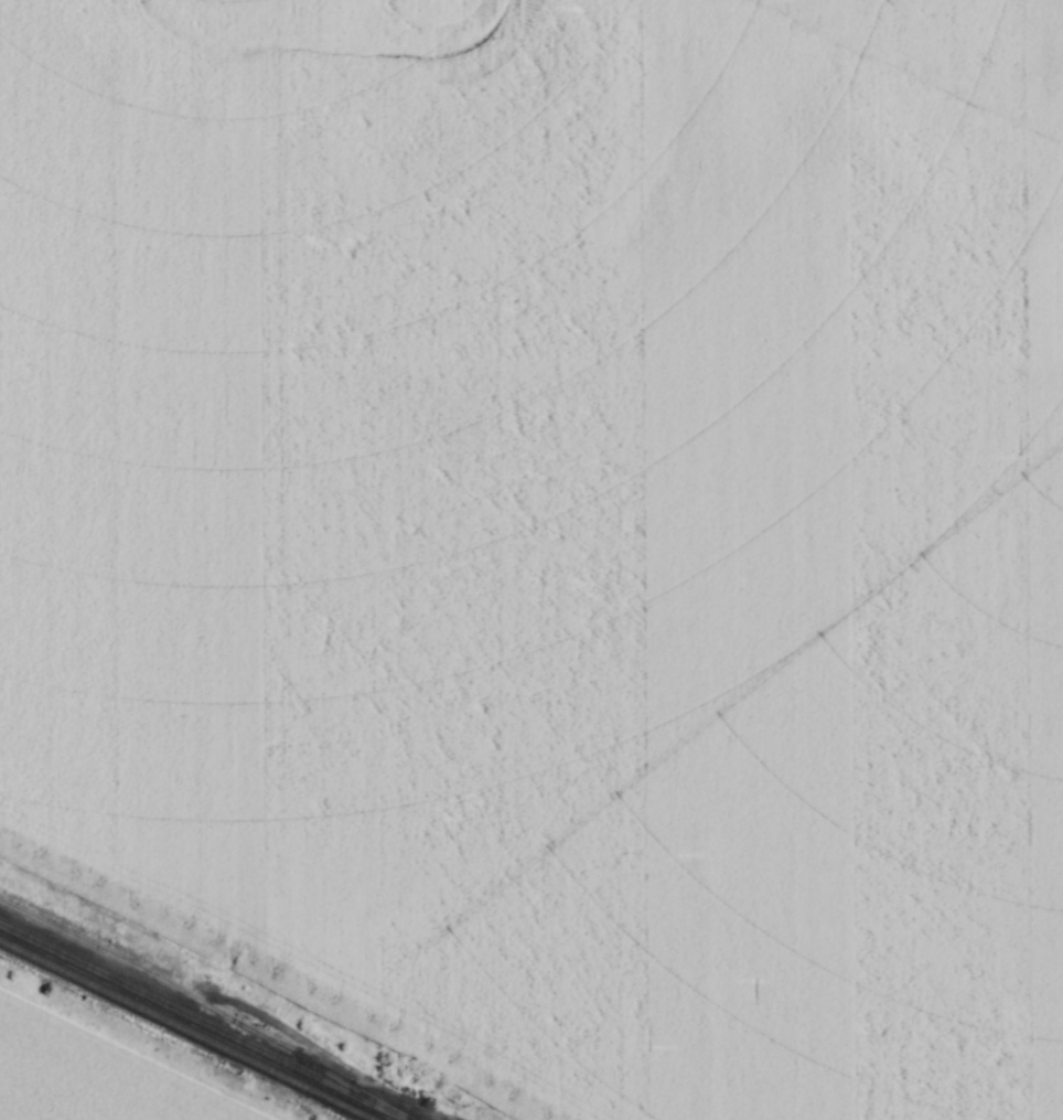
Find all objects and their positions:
railway: (207, 1007)
railway: (204, 1022)
railway: (186, 1030)
crop: (97, 1073)

